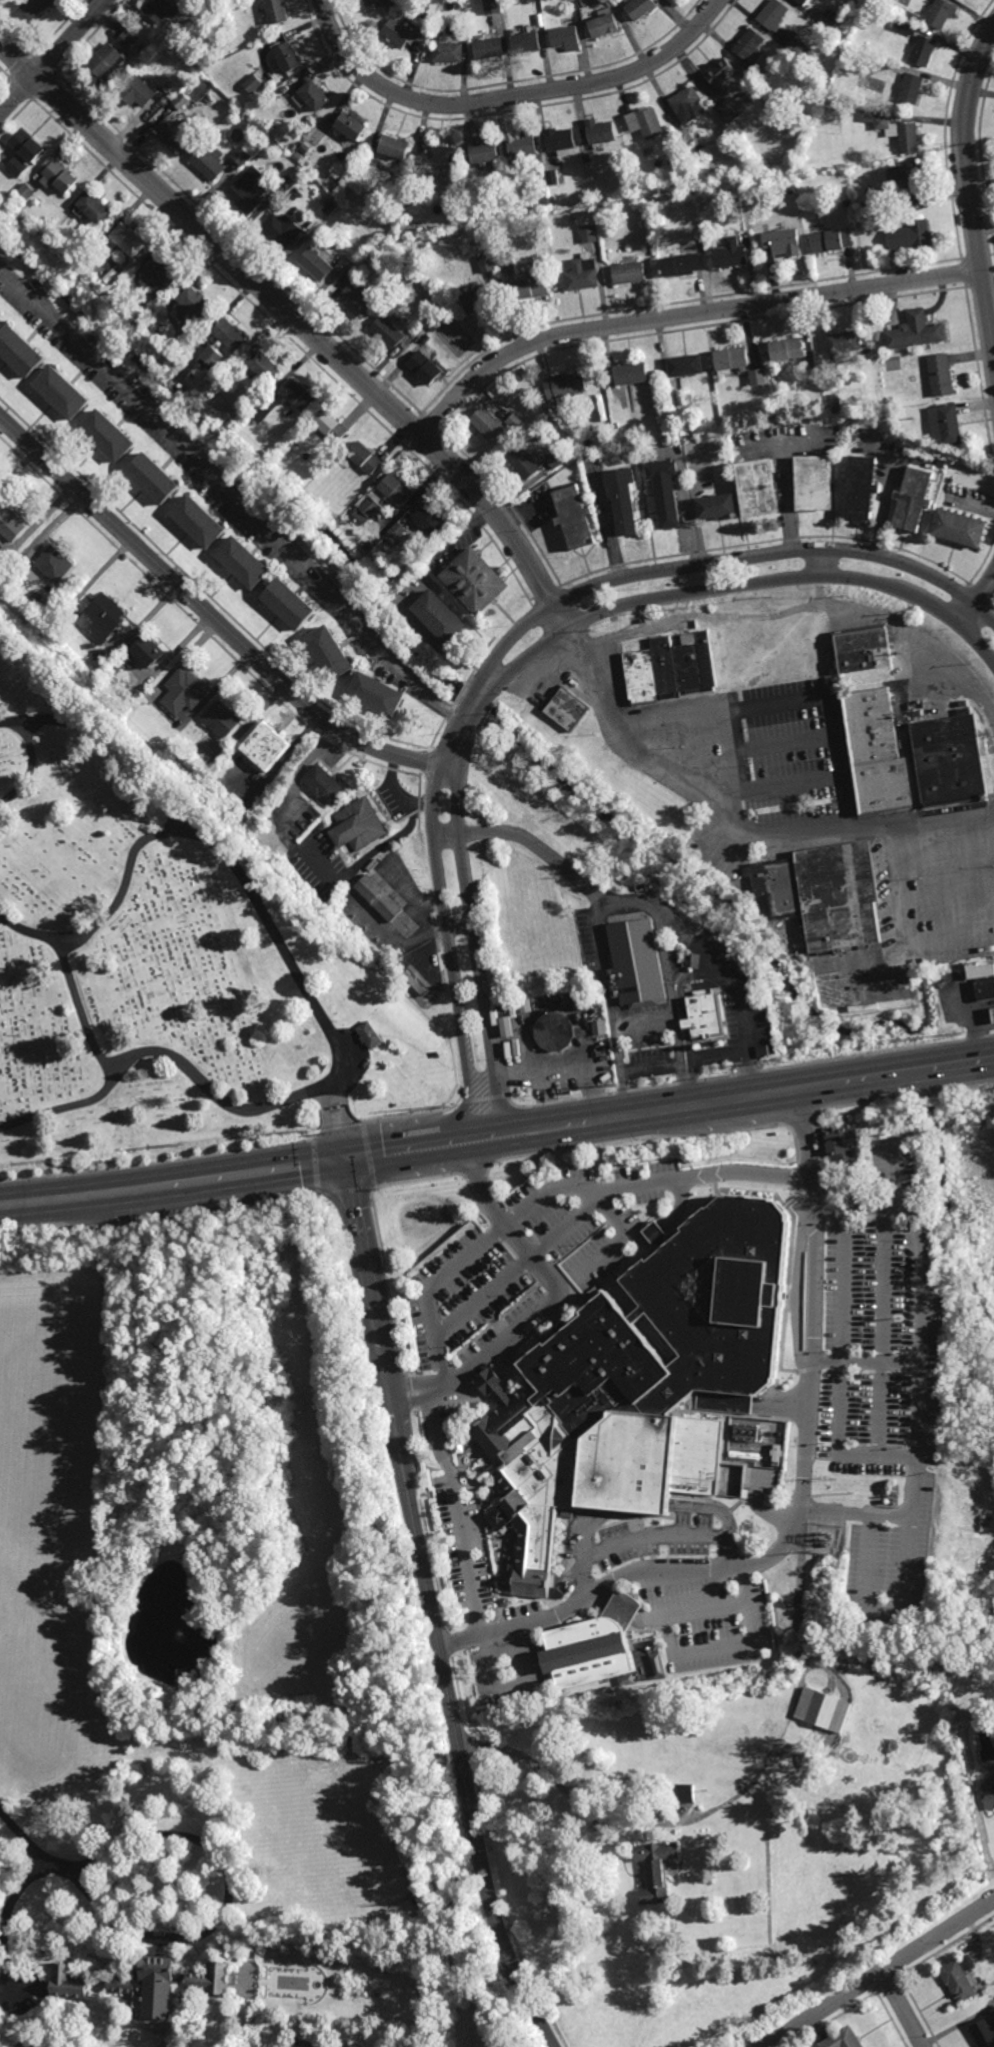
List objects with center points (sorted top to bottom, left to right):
building: (802, 2)
building: (588, 3)
building: (375, 4)
building: (36, 7)
building: (491, 7)
building: (640, 8)
building: (161, 10)
building: (192, 10)
building: (277, 10)
building: (902, 11)
building: (940, 13)
building: (771, 16)
building: (581, 18)
building: (829, 20)
building: (604, 24)
building: (904, 26)
building: (438, 32)
building: (398, 33)
building: (435, 38)
building: (566, 38)
building: (128, 40)
building: (527, 44)
building: (800, 48)
building: (489, 49)
building: (922, 50)
building: (750, 52)
building: (448, 53)
road: (54, 55)
building: (287, 56)
building: (109, 62)
building: (720, 73)
building: (207, 83)
building: (253, 84)
building: (287, 88)
building: (910, 88)
building: (140, 93)
building: (314, 96)
road: (509, 97)
building: (181, 101)
building: (686, 105)
building: (728, 112)
building: (314, 118)
building: (880, 122)
building: (645, 123)
building: (349, 128)
building: (177, 131)
building: (601, 132)
building: (908, 138)
building: (685, 139)
building: (561, 140)
building: (522, 145)
building: (277, 146)
building: (393, 146)
building: (356, 149)
building: (484, 150)
building: (23, 152)
building: (440, 154)
building: (241, 155)
building: (586, 157)
building: (209, 161)
building: (366, 170)
building: (401, 172)
building: (59, 176)
building: (552, 176)
building: (907, 183)
building: (247, 189)
building: (790, 190)
building: (26, 191)
road: (968, 192)
building: (847, 202)
building: (95, 206)
building: (278, 207)
building: (862, 207)
building: (282, 227)
building: (468, 228)
building: (587, 234)
building: (911, 235)
building: (129, 238)
building: (831, 240)
building: (783, 241)
building: (730, 256)
building: (485, 262)
building: (505, 262)
building: (316, 263)
building: (344, 263)
building: (679, 264)
building: (360, 265)
building: (163, 270)
building: (627, 272)
building: (581, 273)
building: (111, 275)
building: (531, 286)
building: (103, 288)
building: (477, 296)
building: (357, 299)
building: (195, 302)
building: (152, 307)
building: (0, 314)
road: (683, 315)
building: (0, 316)
road: (298, 322)
building: (386, 331)
building: (915, 331)
building: (230, 333)
building: (843, 342)
building: (170, 348)
building: (787, 348)
building: (19, 350)
building: (213, 355)
building: (730, 359)
building: (265, 365)
building: (685, 365)
building: (424, 367)
building: (801, 368)
building: (630, 373)
building: (940, 374)
building: (227, 377)
building: (757, 377)
building: (564, 388)
building: (63, 392)
building: (298, 394)
building: (835, 403)
building: (814, 404)
building: (668, 405)
building: (263, 410)
building: (784, 410)
building: (514, 421)
building: (488, 422)
building: (251, 423)
building: (944, 424)
building: (332, 425)
building: (614, 426)
building: (109, 435)
road: (802, 443)
building: (292, 445)
building: (364, 457)
building: (555, 458)
building: (522, 461)
road: (786, 476)
building: (153, 477)
building: (814, 482)
building: (860, 487)
building: (757, 488)
building: (396, 489)
building: (664, 490)
road: (229, 493)
building: (622, 499)
building: (912, 499)
road: (886, 505)
building: (715, 506)
building: (370, 507)
road: (687, 508)
building: (573, 517)
building: (199, 520)
building: (431, 521)
building: (11, 523)
building: (958, 527)
building: (397, 530)
building: (388, 538)
building: (383, 541)
building: (243, 562)
building: (54, 563)
road: (680, 566)
building: (476, 581)
building: (35, 592)
road: (703, 592)
road: (818, 594)
road: (976, 602)
building: (288, 603)
building: (57, 605)
road: (811, 611)
road: (204, 612)
building: (440, 617)
building: (102, 618)
road: (429, 637)
building: (859, 649)
building: (147, 650)
building: (330, 654)
building: (670, 668)
building: (183, 691)
building: (377, 695)
road: (787, 708)
building: (566, 709)
building: (221, 719)
road: (113, 744)
building: (265, 746)
road: (739, 750)
building: (874, 753)
building: (949, 759)
road: (450, 765)
road: (30, 771)
building: (324, 784)
road: (733, 819)
building: (357, 825)
road: (533, 842)
road: (237, 877)
building: (823, 895)
building: (378, 897)
road: (625, 907)
road: (424, 918)
road: (899, 923)
road: (478, 952)
park: (160, 953)
road: (451, 953)
road: (430, 964)
building: (636, 964)
building: (978, 968)
building: (414, 981)
road: (738, 988)
building: (985, 988)
road: (79, 1009)
building: (993, 1011)
building: (702, 1014)
road: (643, 1022)
building: (506, 1026)
building: (598, 1028)
building: (554, 1032)
power tower: (957, 1033)
building: (368, 1034)
road: (720, 1053)
road: (167, 1058)
power tower: (762, 1063)
road: (693, 1081)
power tower: (610, 1087)
power tower: (446, 1109)
road: (669, 1110)
power tower: (309, 1132)
power tower: (186, 1145)
power tower: (49, 1158)
traffic signals: (346, 1161)
road: (896, 1174)
road: (173, 1183)
road: (554, 1187)
road: (569, 1222)
road: (613, 1241)
parking lot: (533, 1274)
road: (884, 1283)
road: (842, 1285)
road: (482, 1297)
road: (549, 1306)
road: (868, 1360)
road: (922, 1371)
building: (657, 1385)
parking lot: (868, 1407)
road: (882, 1407)
road: (840, 1443)
road: (801, 1502)
road: (458, 1510)
road: (646, 1536)
road: (596, 1600)
road: (882, 1606)
road: (713, 1608)
road: (432, 1609)
road: (622, 1611)
building: (598, 1648)
road: (713, 1652)
building: (823, 1708)
building: (993, 1768)
building: (988, 1791)
building: (682, 1793)
road: (624, 1819)
road: (25, 1841)
building: (656, 1870)
road: (229, 1899)
road: (9, 1917)
road: (876, 1970)
road: (24, 1983)
building: (961, 1983)
building: (68, 1984)
building: (169, 1986)
road: (903, 2007)
road: (919, 2011)
road: (890, 2020)
building: (985, 2034)
building: (843, 2040)
building: (312, 2042)

